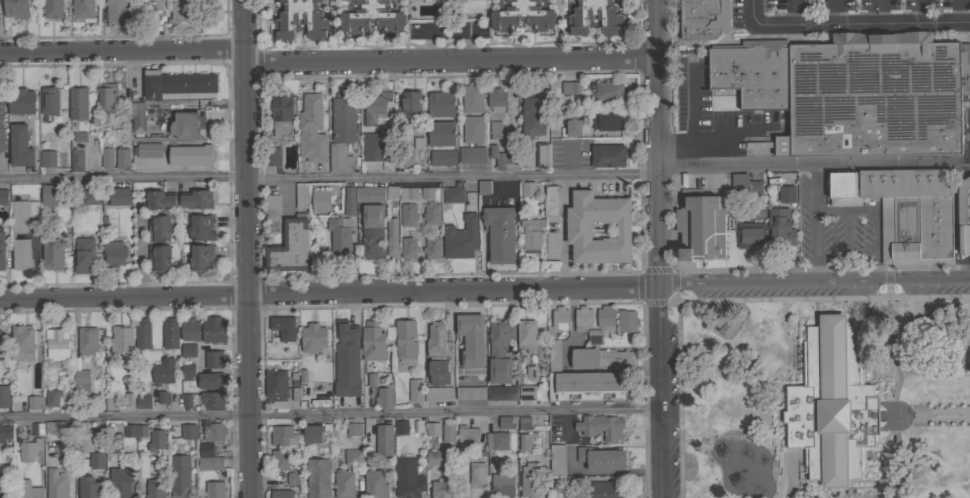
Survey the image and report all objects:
building: (16, 8)
parking lot: (862, 8)
building: (52, 9)
building: (83, 9)
road: (750, 10)
road: (792, 12)
road: (833, 12)
road: (875, 12)
road: (920, 12)
road: (960, 12)
building: (116, 13)
building: (155, 13)
building: (184, 13)
building: (522, 15)
building: (372, 16)
building: (594, 17)
building: (300, 19)
building: (703, 19)
road: (861, 24)
road: (122, 52)
road: (449, 61)
building: (965, 69)
building: (753, 73)
building: (178, 85)
building: (570, 88)
building: (605, 91)
building: (873, 96)
building: (107, 97)
building: (472, 98)
building: (49, 100)
building: (497, 100)
building: (21, 103)
building: (78, 103)
building: (410, 104)
building: (440, 104)
building: (375, 105)
building: (311, 112)
building: (281, 114)
building: (343, 114)
building: (138, 118)
building: (533, 118)
building: (609, 120)
road: (690, 122)
building: (187, 125)
building: (571, 127)
building: (2, 128)
building: (472, 129)
building: (495, 130)
road: (724, 130)
building: (440, 133)
building: (78, 137)
building: (418, 143)
road: (655, 144)
building: (20, 146)
road: (246, 147)
building: (370, 148)
building: (149, 150)
building: (472, 155)
building: (542, 155)
building: (190, 156)
building: (607, 156)
building: (271, 157)
building: (443, 157)
building: (107, 158)
building: (123, 158)
building: (404, 158)
building: (47, 159)
building: (341, 159)
building: (502, 159)
road: (568, 159)
building: (76, 160)
building: (311, 162)
road: (812, 165)
road: (328, 176)
road: (959, 176)
building: (826, 183)
building: (745, 185)
building: (484, 188)
building: (527, 189)
building: (842, 189)
building: (392, 192)
building: (427, 193)
building: (453, 193)
building: (369, 194)
building: (408, 194)
building: (786, 194)
building: (90, 196)
building: (119, 196)
building: (301, 196)
building: (3, 197)
building: (46, 197)
building: (196, 199)
building: (159, 200)
building: (320, 200)
building: (551, 201)
building: (349, 202)
building: (272, 207)
road: (830, 211)
building: (22, 214)
building: (431, 214)
building: (912, 214)
building: (408, 215)
building: (964, 215)
road: (815, 225)
building: (701, 227)
building: (780, 227)
road: (954, 227)
building: (158, 228)
building: (201, 228)
building: (578, 230)
building: (372, 232)
road: (563, 232)
building: (339, 233)
road: (875, 233)
building: (500, 234)
building: (532, 234)
building: (751, 235)
building: (392, 238)
building: (460, 238)
building: (290, 246)
road: (845, 247)
building: (409, 248)
building: (432, 248)
building: (2, 250)
building: (114, 253)
building: (20, 254)
building: (52, 255)
road: (140, 255)
building: (84, 256)
building: (202, 257)
building: (678, 257)
building: (159, 258)
road: (34, 259)
road: (965, 260)
road: (684, 271)
road: (961, 273)
road: (887, 283)
road: (814, 286)
road: (453, 291)
road: (124, 296)
road: (725, 302)
building: (606, 317)
building: (582, 319)
building: (558, 322)
building: (626, 322)
building: (725, 324)
road: (928, 324)
building: (283, 328)
building: (213, 329)
building: (190, 330)
building: (142, 334)
building: (170, 334)
building: (526, 337)
building: (313, 338)
building: (593, 338)
building: (121, 339)
building: (471, 340)
building: (87, 341)
building: (373, 341)
building: (406, 341)
building: (437, 341)
building: (22, 343)
building: (57, 344)
road: (787, 344)
road: (963, 344)
building: (0, 345)
building: (188, 350)
building: (500, 352)
building: (553, 355)
road: (892, 356)
building: (600, 358)
building: (214, 359)
road: (789, 368)
building: (164, 372)
building: (187, 372)
building: (438, 373)
building: (211, 380)
building: (81, 382)
building: (586, 385)
building: (276, 388)
building: (416, 390)
building: (527, 392)
road: (659, 392)
building: (470, 393)
building: (501, 393)
building: (349, 394)
building: (438, 394)
road: (250, 396)
building: (326, 396)
building: (4, 397)
building: (384, 397)
building: (51, 398)
building: (163, 398)
park: (826, 399)
building: (212, 400)
building: (143, 401)
building: (185, 401)
building: (35, 402)
building: (111, 403)
building: (832, 404)
road: (330, 414)
road: (924, 414)
building: (507, 422)
building: (525, 423)
building: (55, 427)
building: (600, 427)
building: (401, 428)
building: (353, 429)
building: (432, 429)
building: (135, 431)
building: (212, 431)
building: (188, 432)
building: (5, 433)
building: (314, 433)
building: (448, 433)
building: (282, 435)
building: (156, 440)
building: (383, 440)
building: (497, 440)
road: (694, 440)
building: (85, 442)
building: (468, 442)
building: (524, 442)
building: (113, 443)
building: (205, 449)
building: (29, 450)
building: (353, 457)
building: (434, 458)
building: (281, 459)
building: (601, 459)
building: (557, 460)
building: (97, 461)
road: (886, 461)
building: (210, 463)
building: (477, 473)
building: (180, 477)
building: (292, 478)
building: (317, 478)
building: (407, 478)
building: (530, 480)
building: (121, 482)
building: (55, 484)
building: (344, 484)
building: (375, 485)
building: (502, 485)
building: (3, 487)
building: (89, 487)
building: (155, 488)
building: (27, 489)
building: (214, 489)
building: (443, 489)
building: (606, 489)
building: (282, 494)
building: (472, 495)
road: (854, 496)

